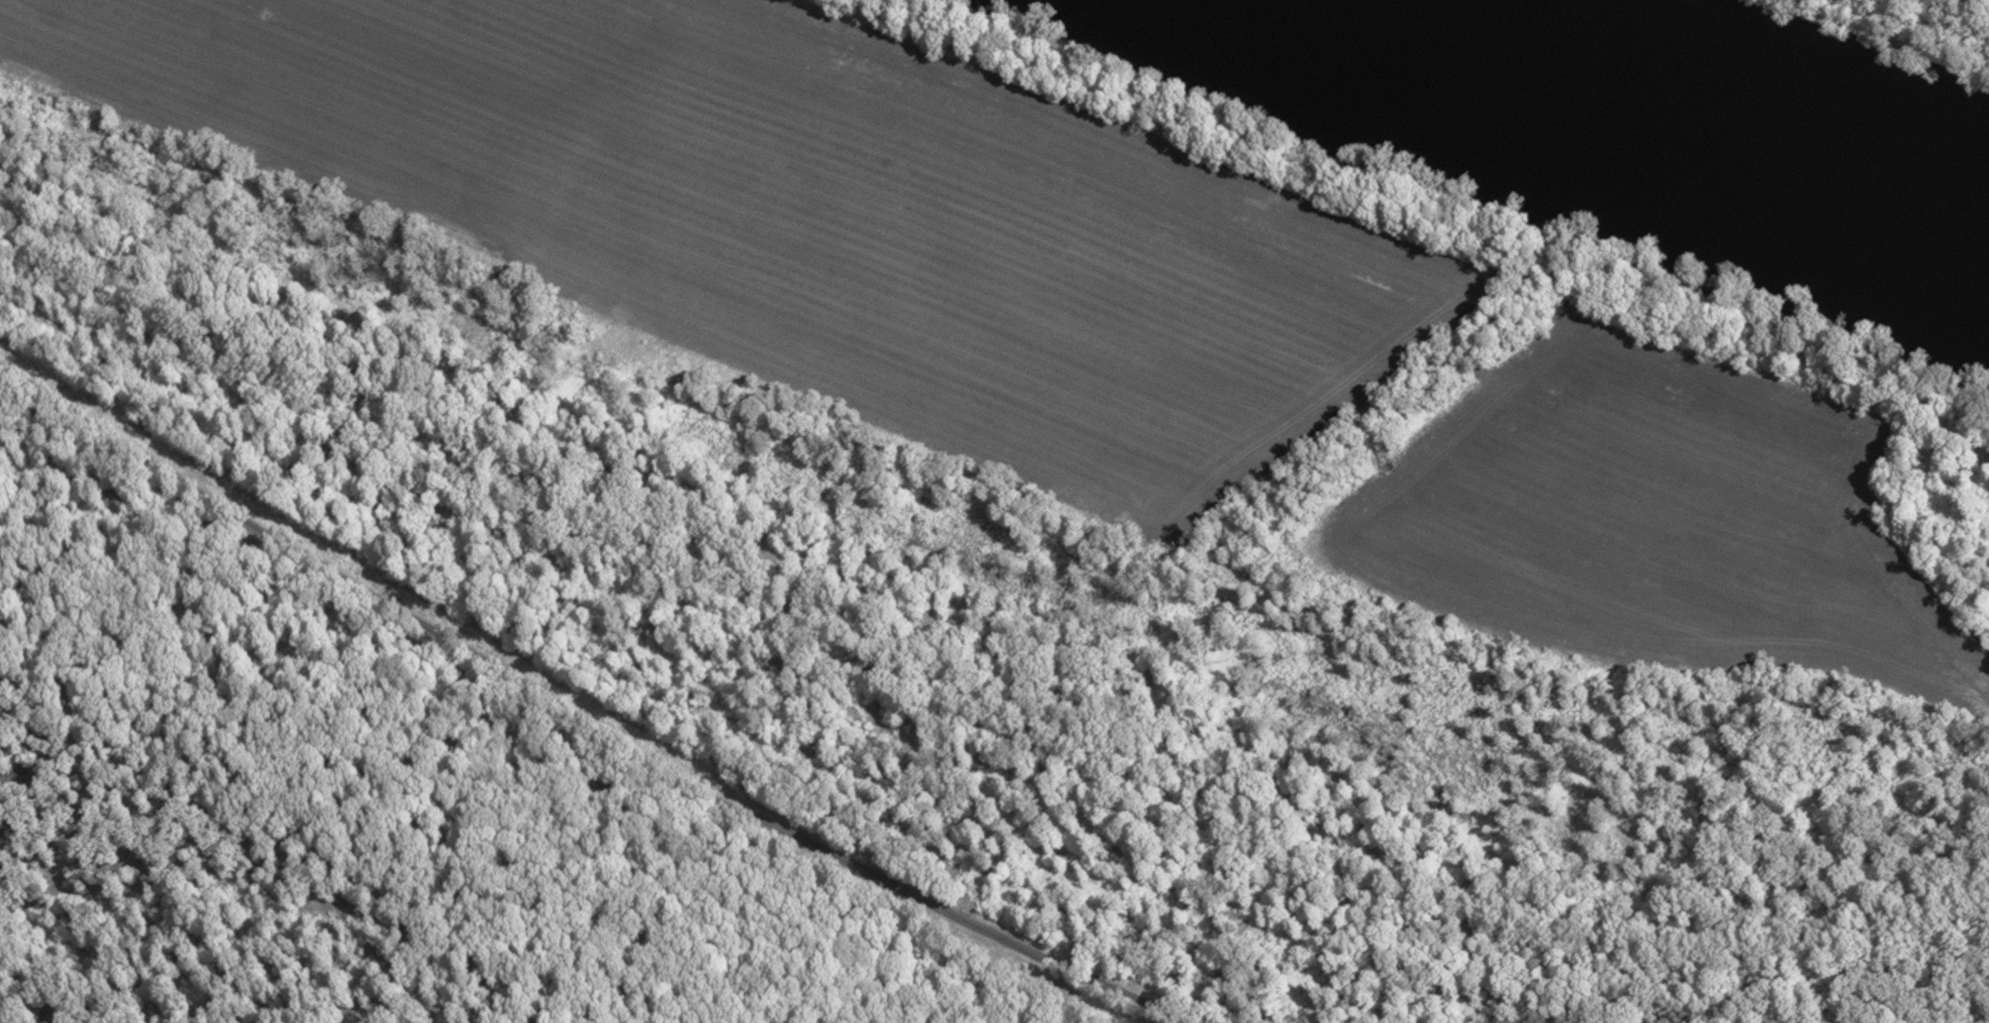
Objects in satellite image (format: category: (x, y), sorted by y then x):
road: (1975, 5)
river: (1663, 108)
road: (579, 724)

